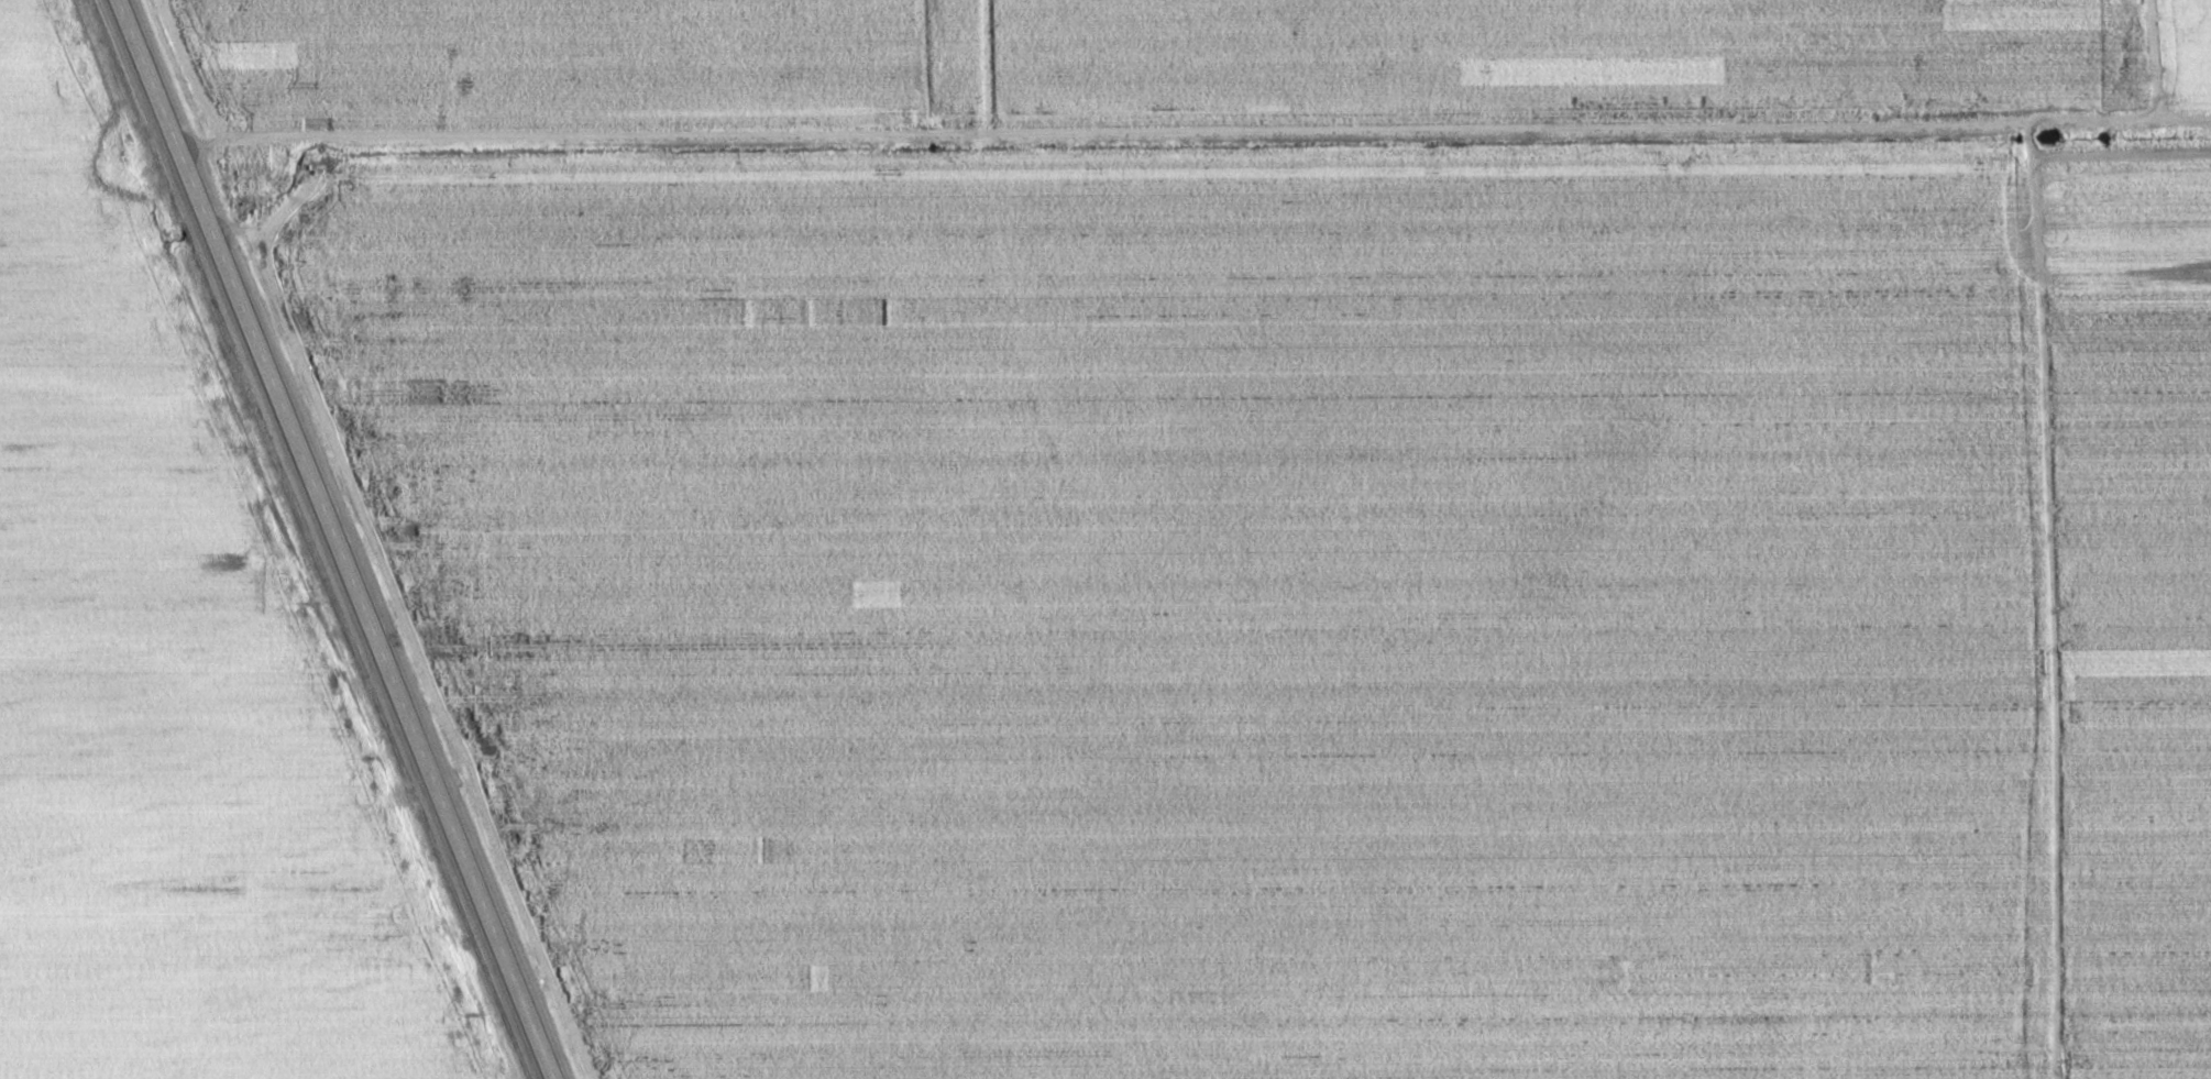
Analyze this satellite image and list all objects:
road: (334, 538)

